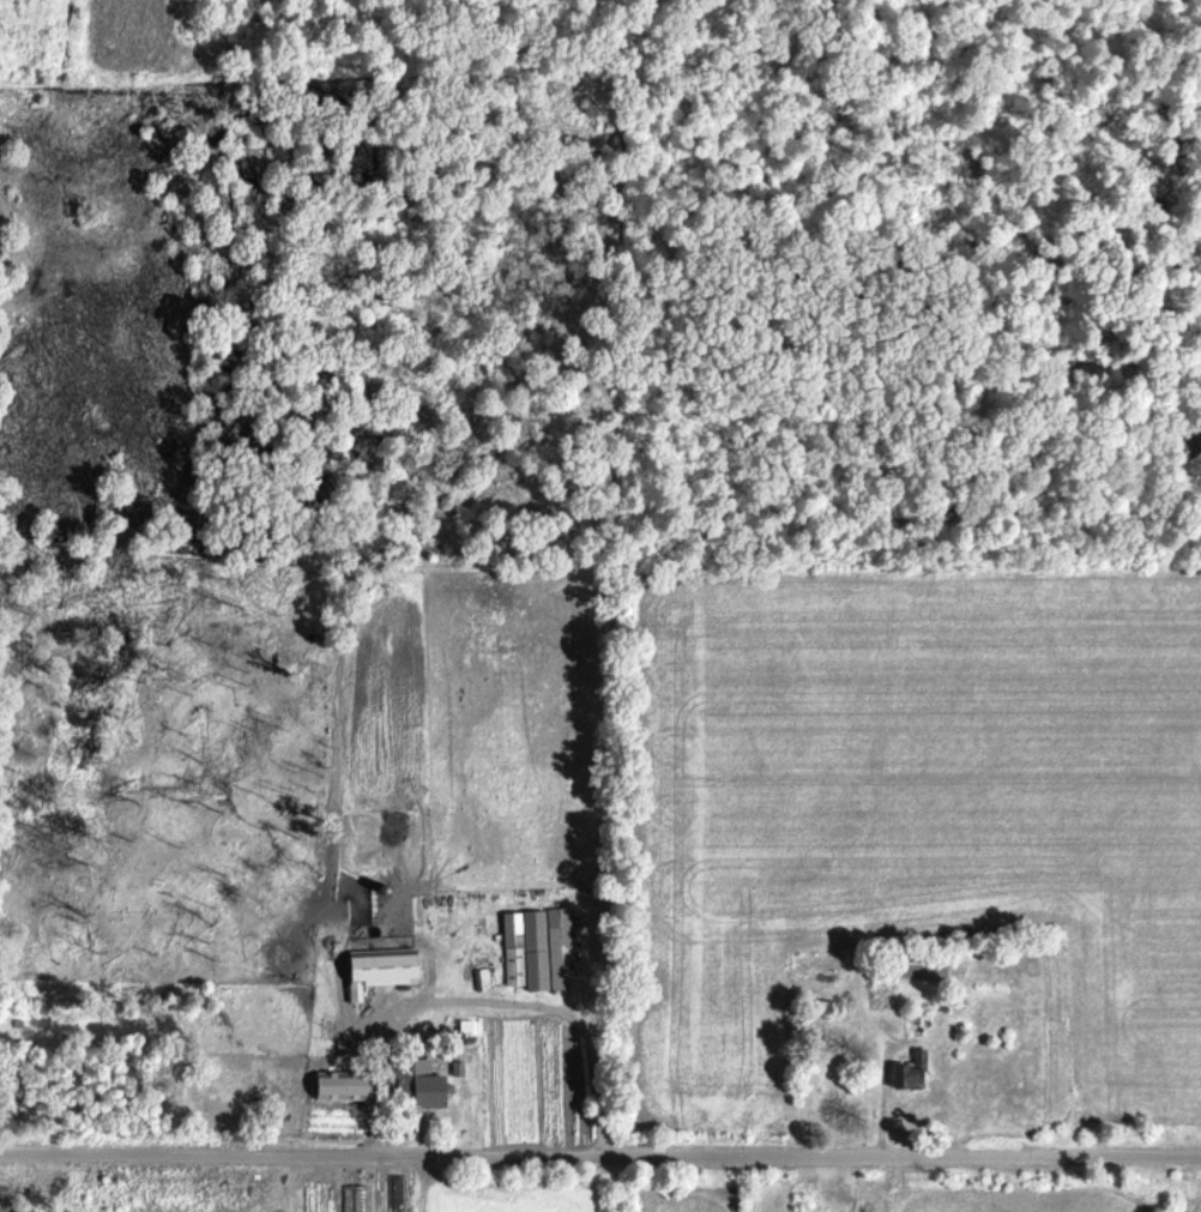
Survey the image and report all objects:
building: (381, 972)
building: (482, 982)
building: (912, 1074)
road: (600, 1150)

